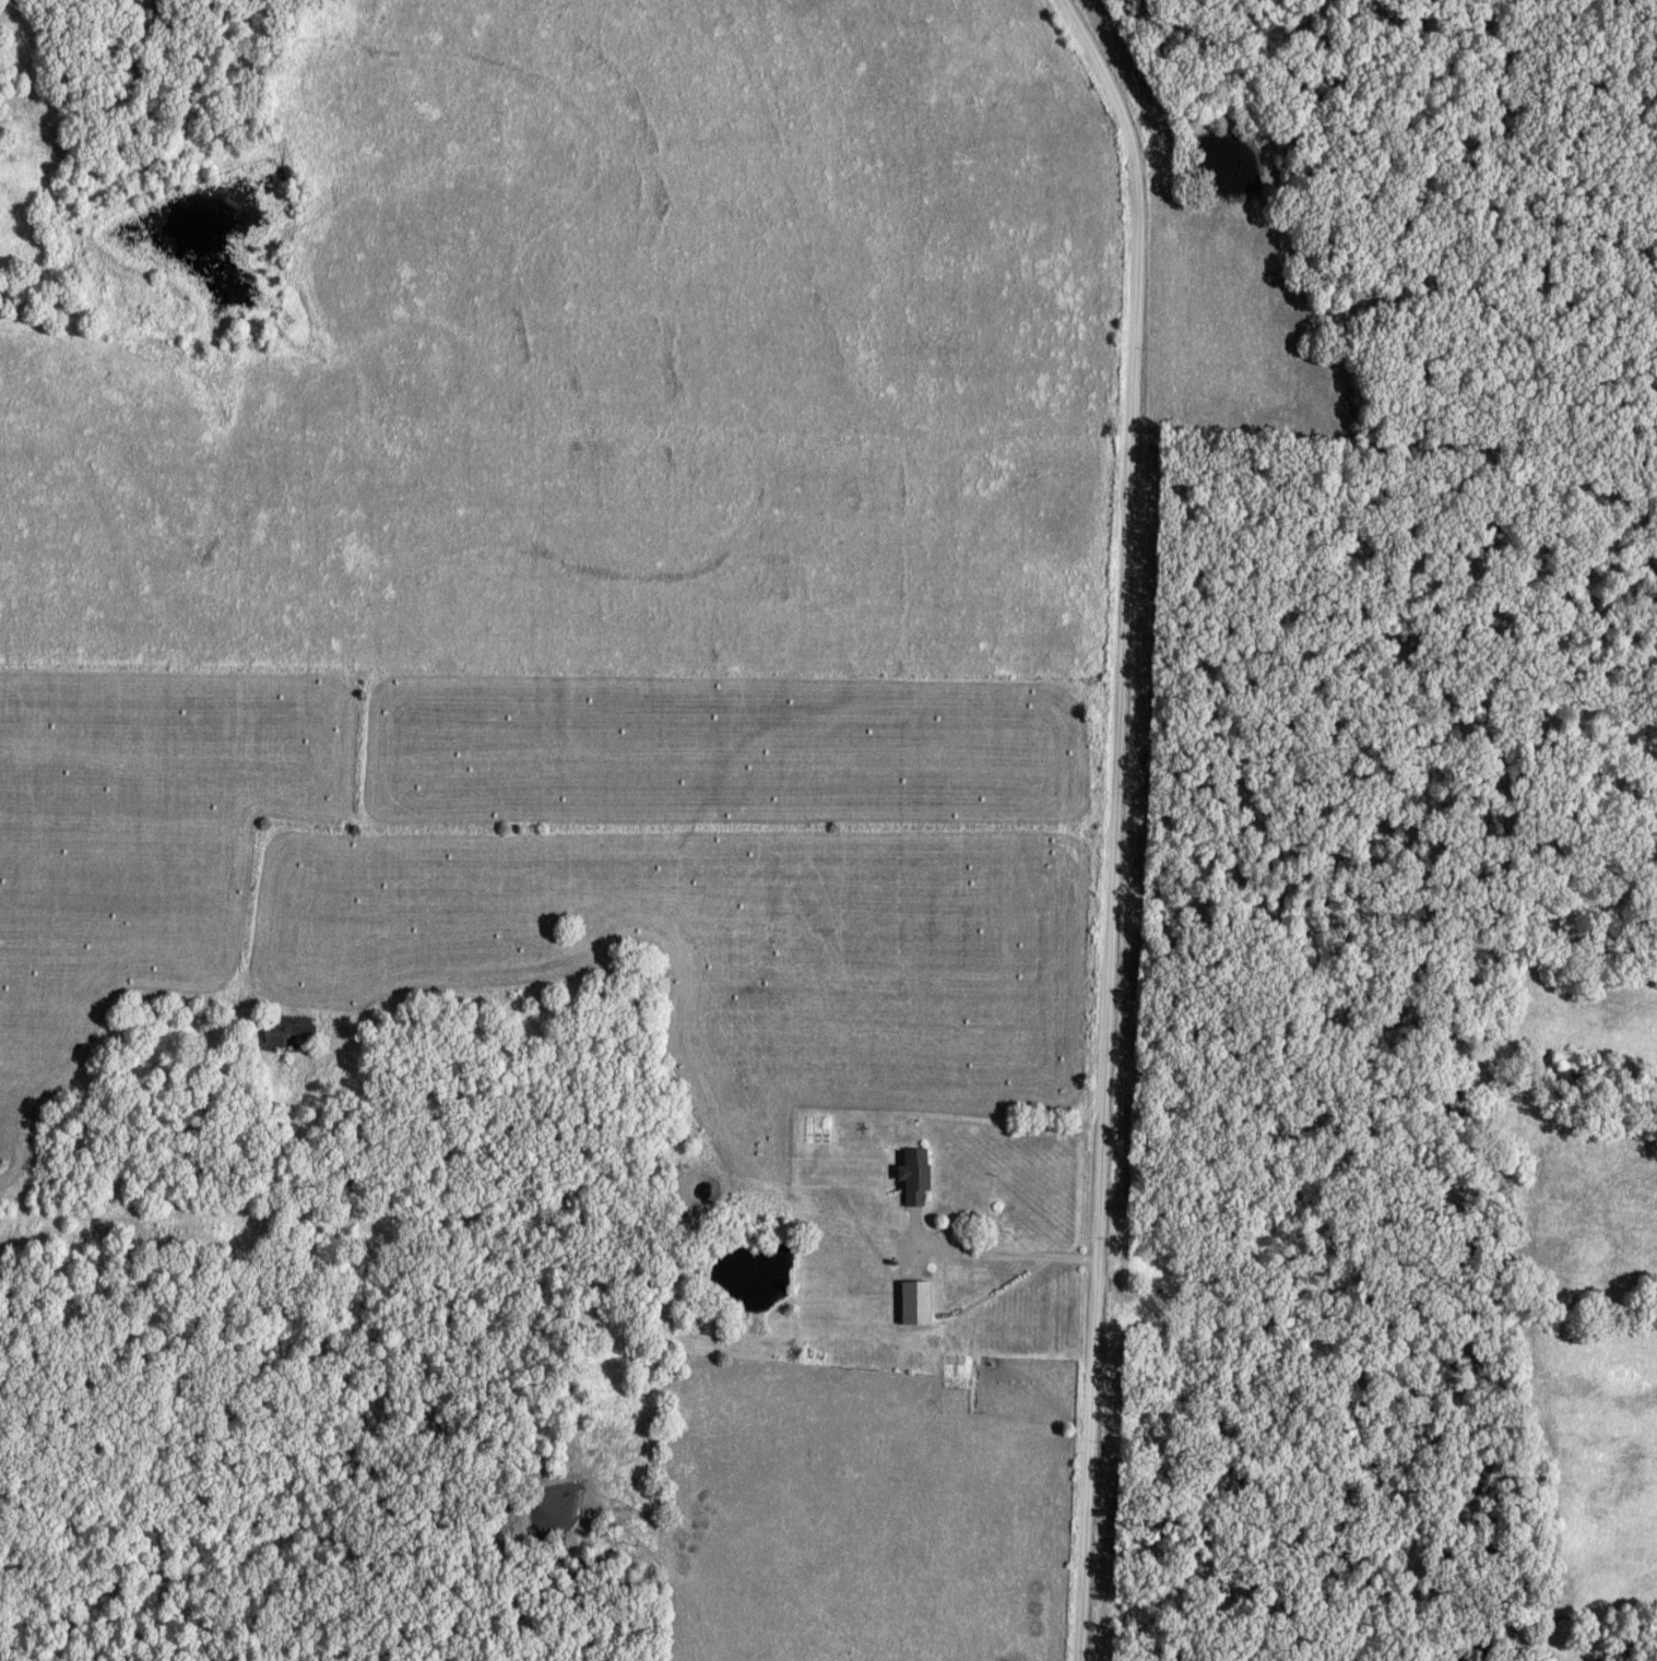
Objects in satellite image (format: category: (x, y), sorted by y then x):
road: (1124, 822)
building: (289, 1029)
building: (919, 1175)
building: (961, 1365)

